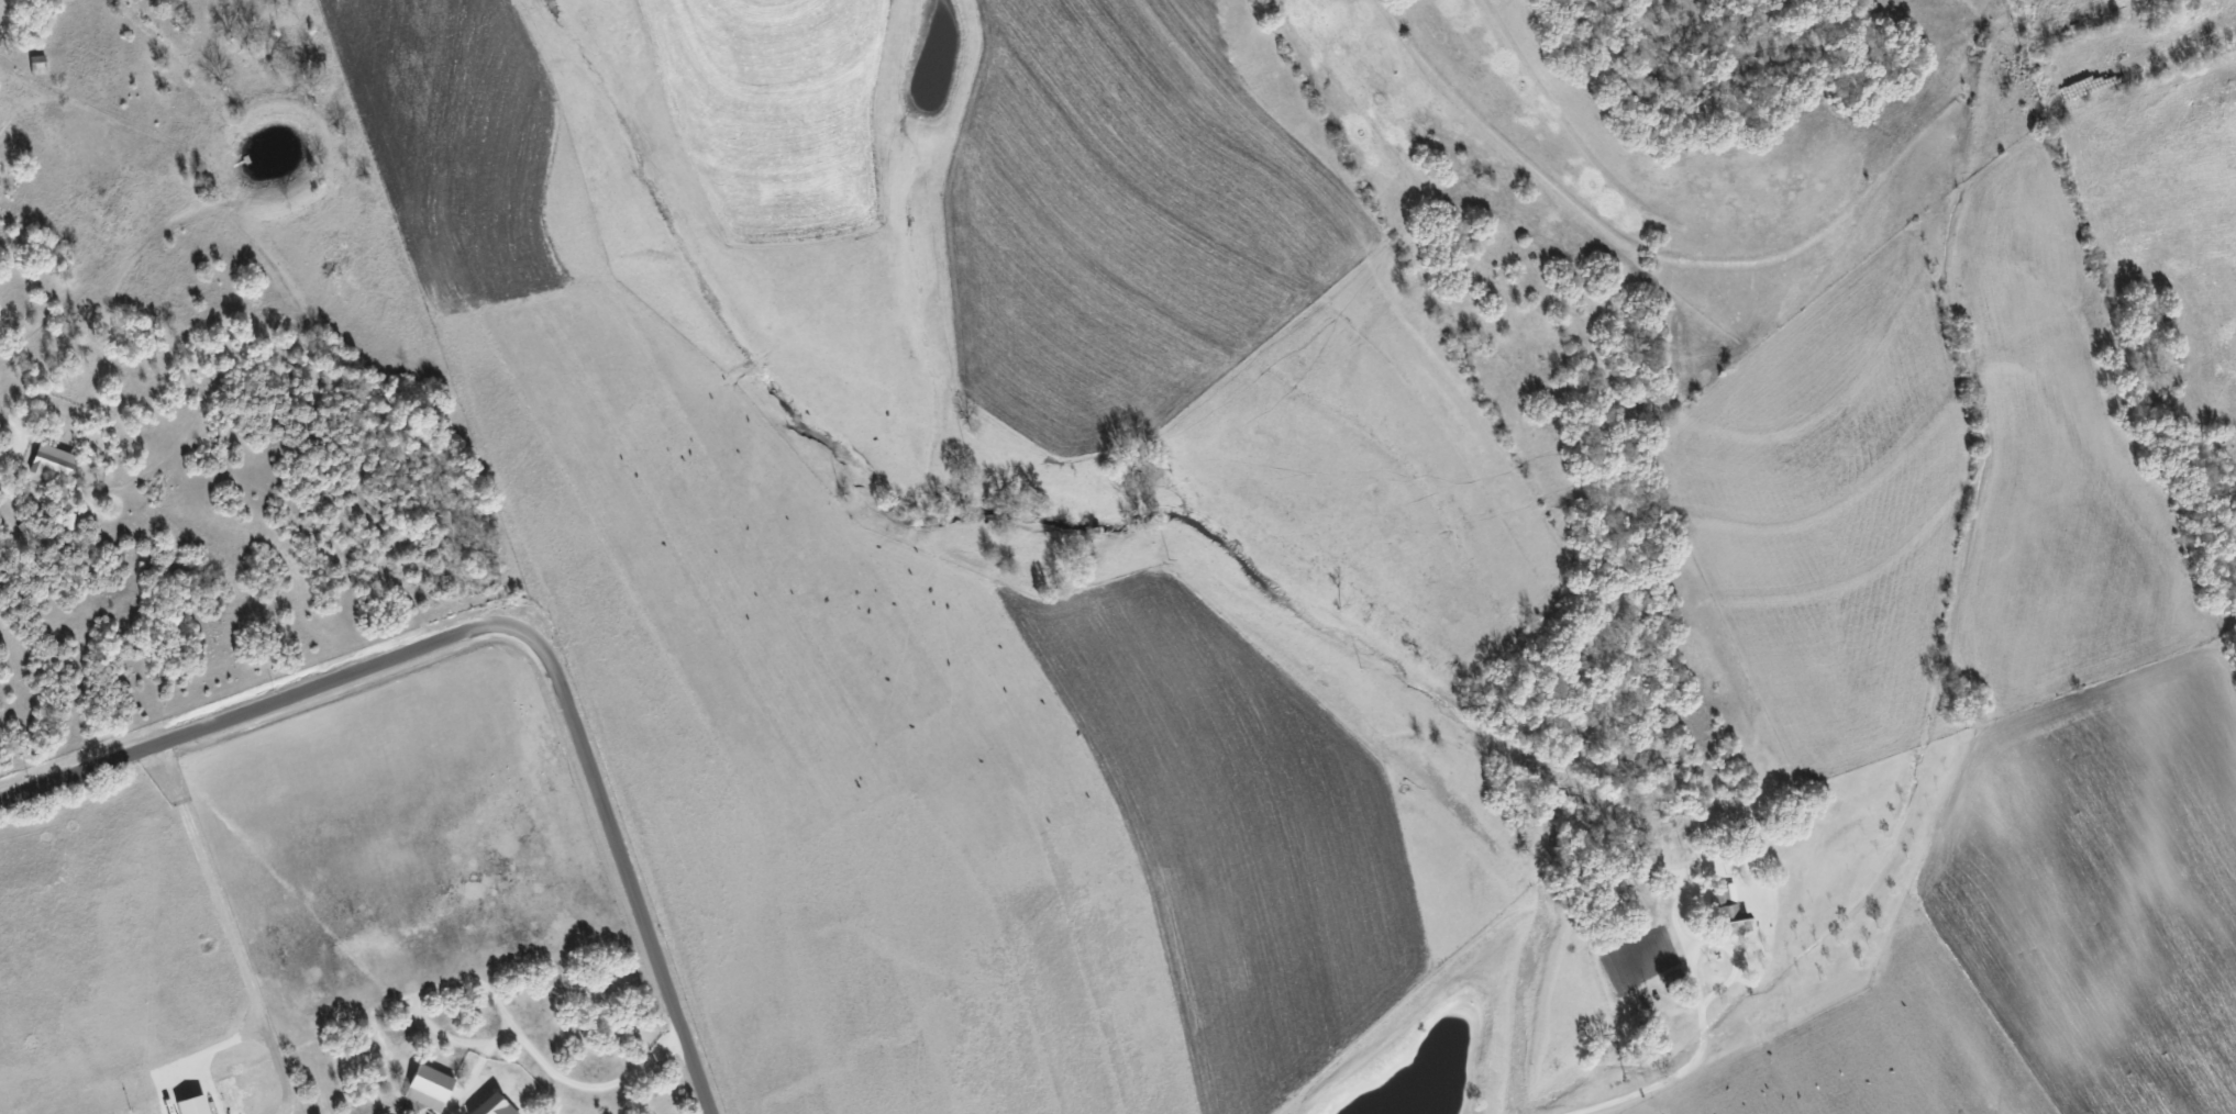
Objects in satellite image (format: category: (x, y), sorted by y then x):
building: (53, 459)
road: (508, 623)
building: (1728, 912)
road: (228, 928)
road: (1705, 1040)
road: (580, 1084)
building: (432, 1088)
building: (496, 1105)

